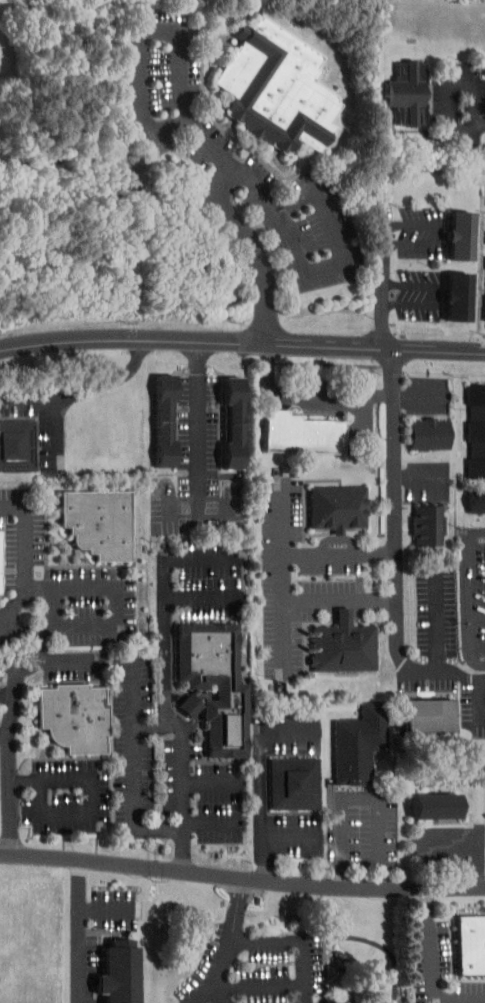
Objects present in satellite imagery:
road: (453, 82)
building: (278, 87)
building: (393, 88)
building: (410, 92)
road: (169, 123)
road: (481, 128)
road: (229, 166)
road: (221, 184)
building: (481, 210)
building: (445, 231)
road: (439, 235)
building: (461, 235)
road: (259, 253)
road: (386, 280)
building: (479, 286)
building: (443, 293)
building: (460, 295)
road: (438, 296)
road: (99, 337)
road: (234, 340)
road: (377, 346)
road: (84, 390)
road: (309, 393)
road: (418, 395)
building: (149, 413)
building: (217, 415)
building: (165, 418)
building: (234, 421)
building: (415, 427)
road: (200, 429)
building: (477, 429)
building: (431, 434)
building: (302, 437)
building: (18, 445)
road: (420, 478)
road: (395, 496)
building: (477, 500)
building: (337, 506)
building: (97, 522)
building: (428, 524)
road: (284, 526)
road: (200, 559)
road: (286, 581)
road: (79, 589)
building: (480, 589)
road: (468, 594)
road: (201, 597)
road: (55, 606)
road: (14, 608)
road: (4, 616)
road: (437, 624)
road: (166, 635)
road: (288, 635)
road: (0, 647)
building: (343, 648)
road: (65, 661)
road: (432, 676)
building: (213, 685)
road: (7, 695)
building: (175, 699)
road: (484, 699)
road: (12, 703)
road: (194, 707)
building: (426, 717)
building: (71, 719)
road: (176, 721)
road: (156, 729)
road: (4, 735)
building: (359, 745)
road: (136, 769)
building: (482, 779)
road: (264, 782)
road: (214, 783)
building: (293, 784)
road: (10, 795)
road: (95, 796)
road: (359, 799)
building: (420, 799)
road: (186, 801)
building: (436, 807)
road: (214, 823)
road: (290, 836)
road: (242, 876)
road: (107, 909)
road: (79, 932)
road: (300, 941)
road: (231, 945)
building: (470, 945)
road: (433, 969)
building: (118, 975)
road: (257, 986)
road: (218, 995)
building: (317, 1000)
building: (332, 1002)

